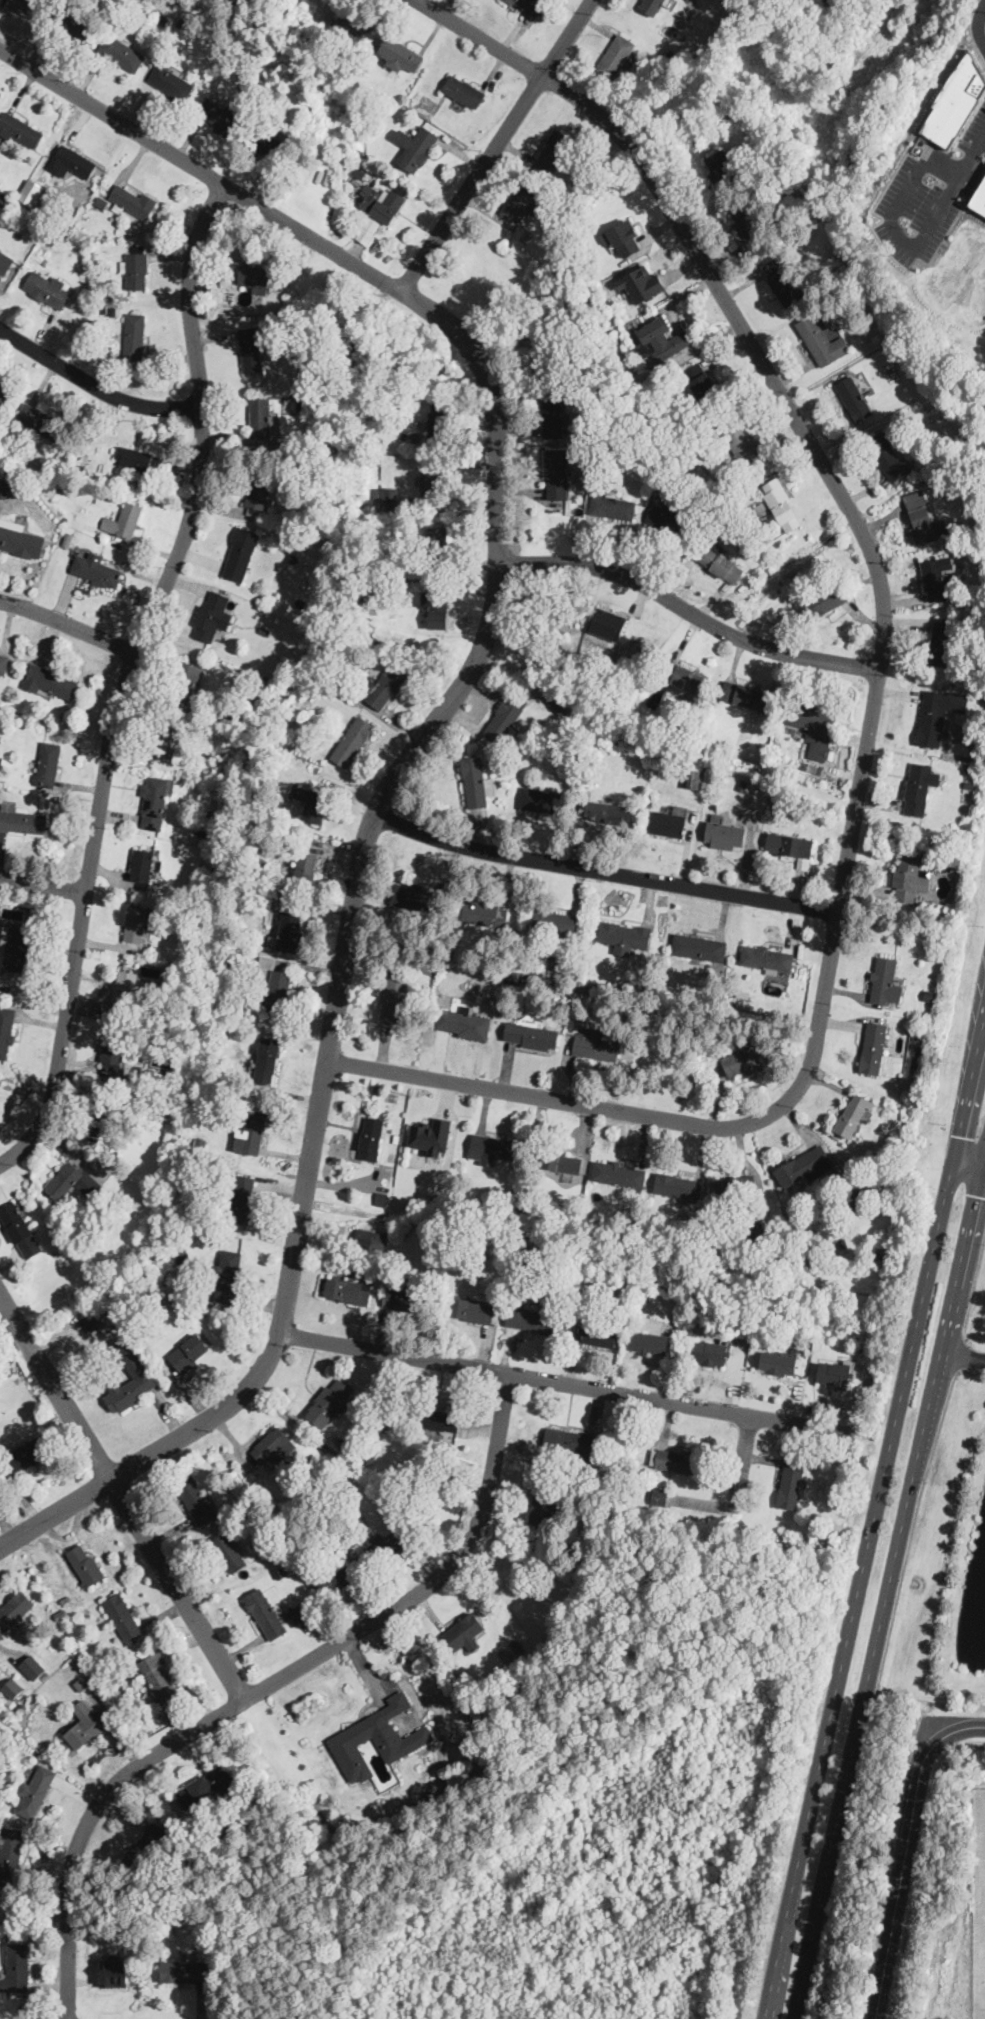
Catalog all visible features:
building: (531, 5)
building: (652, 5)
building: (25, 6)
building: (72, 23)
road: (977, 23)
building: (350, 26)
parking lot: (981, 47)
building: (120, 52)
building: (400, 54)
building: (615, 55)
building: (171, 81)
building: (464, 90)
building: (957, 101)
building: (221, 115)
building: (19, 129)
building: (267, 142)
road: (497, 145)
building: (415, 146)
building: (555, 147)
road: (973, 158)
building: (72, 161)
building: (720, 165)
parking lot: (929, 194)
building: (979, 199)
building: (132, 201)
building: (381, 202)
building: (523, 203)
building: (749, 221)
road: (893, 224)
building: (368, 229)
building: (625, 237)
building: (5, 260)
building: (136, 267)
building: (256, 278)
building: (641, 281)
building: (782, 281)
building: (48, 289)
building: (134, 335)
building: (659, 338)
building: (820, 339)
building: (250, 348)
building: (553, 356)
building: (699, 380)
road: (95, 385)
building: (4, 392)
building: (853, 397)
building: (553, 416)
building: (260, 417)
building: (42, 421)
building: (439, 424)
building: (739, 441)
building: (887, 455)
building: (134, 457)
building: (557, 473)
building: (435, 487)
building: (4, 488)
building: (259, 495)
building: (387, 499)
building: (779, 503)
building: (611, 506)
building: (667, 513)
building: (919, 516)
building: (124, 519)
building: (19, 538)
building: (438, 549)
building: (242, 553)
building: (719, 561)
building: (96, 569)
building: (936, 576)
building: (822, 600)
building: (437, 610)
road: (689, 610)
building: (213, 616)
road: (69, 623)
building: (606, 623)
building: (944, 645)
building: (4, 663)
road: (128, 676)
building: (681, 676)
building: (184, 679)
building: (50, 680)
building: (387, 686)
building: (745, 694)
building: (560, 699)
road: (873, 701)
building: (939, 714)
building: (502, 720)
building: (813, 725)
road: (424, 738)
building: (352, 740)
building: (169, 741)
building: (49, 763)
building: (693, 778)
building: (476, 782)
building: (919, 787)
building: (542, 799)
building: (315, 805)
building: (609, 811)
building: (153, 812)
building: (22, 819)
building: (668, 822)
building: (724, 834)
building: (789, 845)
building: (143, 864)
building: (306, 865)
road: (604, 871)
building: (909, 876)
road: (43, 884)
building: (414, 896)
building: (484, 912)
building: (555, 922)
building: (139, 924)
building: (289, 931)
building: (625, 935)
building: (698, 945)
building: (15, 948)
building: (766, 958)
building: (559, 966)
building: (884, 981)
building: (275, 983)
building: (126, 990)
building: (394, 995)
building: (463, 1023)
building: (5, 1028)
building: (530, 1034)
building: (594, 1043)
building: (873, 1047)
building: (114, 1053)
building: (266, 1058)
building: (742, 1061)
building: (101, 1115)
building: (852, 1115)
building: (249, 1132)
traffic signals: (958, 1134)
building: (431, 1135)
building: (369, 1138)
building: (494, 1147)
road: (970, 1151)
building: (563, 1162)
building: (805, 1165)
building: (618, 1173)
road: (967, 1173)
building: (72, 1181)
building: (677, 1185)
building: (735, 1185)
traffic signals: (977, 1194)
building: (240, 1198)
building: (19, 1228)
building: (369, 1237)
building: (225, 1274)
road: (973, 1286)
building: (347, 1289)
building: (406, 1299)
building: (473, 1309)
building: (530, 1317)
building: (96, 1318)
building: (599, 1333)
building: (647, 1334)
building: (189, 1352)
building: (711, 1352)
road: (962, 1353)
road: (962, 1356)
building: (777, 1362)
building: (834, 1373)
road: (564, 1381)
building: (128, 1390)
building: (328, 1401)
building: (439, 1419)
building: (571, 1441)
building: (274, 1444)
building: (27, 1452)
building: (674, 1459)
road: (741, 1463)
building: (791, 1481)
building: (660, 1495)
road: (122, 1497)
building: (196, 1499)
building: (542, 1504)
road: (875, 1515)
building: (389, 1545)
building: (229, 1550)
building: (85, 1564)
building: (332, 1580)
road: (887, 1586)
building: (14, 1608)
building: (265, 1612)
building: (299, 1612)
building: (124, 1617)
building: (465, 1632)
building: (507, 1652)
building: (32, 1666)
building: (158, 1676)
building: (80, 1683)
road: (264, 1686)
building: (12, 1687)
road: (876, 1690)
building: (84, 1726)
building: (377, 1737)
building: (459, 1777)
building: (206, 1785)
building: (35, 1790)
building: (148, 1847)
road: (904, 1851)
building: (10, 1854)
road: (918, 1863)
building: (16, 1968)
building: (185, 1970)
building: (113, 1972)

